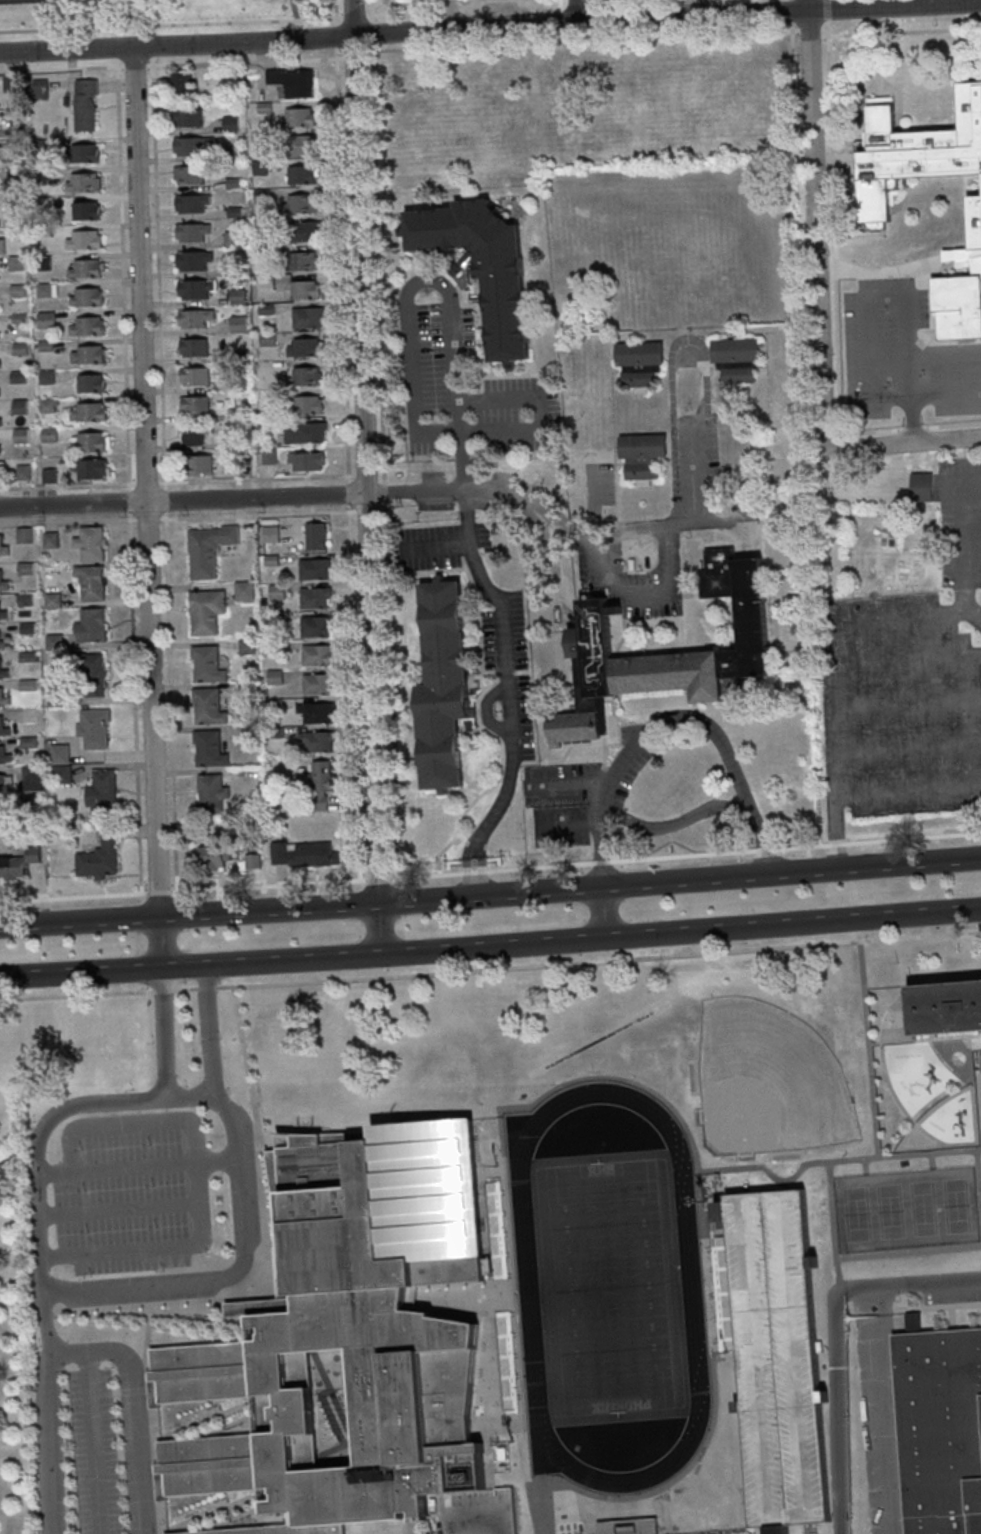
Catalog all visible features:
park: (25, 1)
road: (595, 4)
road: (806, 5)
road: (295, 10)
road: (560, 11)
road: (576, 11)
road: (824, 11)
park: (149, 12)
road: (101, 14)
road: (596, 14)
road: (200, 24)
road: (490, 26)
road: (809, 28)
road: (902, 32)
road: (578, 40)
road: (352, 54)
road: (171, 63)
building: (291, 82)
building: (9, 83)
building: (180, 84)
building: (38, 89)
road: (792, 89)
building: (83, 105)
building: (263, 108)
building: (16, 117)
building: (186, 118)
building: (296, 118)
building: (229, 123)
building: (258, 137)
building: (40, 144)
building: (190, 145)
building: (301, 145)
building: (913, 150)
building: (13, 151)
building: (83, 153)
building: (230, 153)
building: (258, 165)
building: (40, 173)
building: (189, 174)
building: (13, 175)
building: (299, 175)
building: (81, 182)
building: (232, 183)
building: (260, 194)
building: (190, 203)
building: (13, 204)
building: (298, 205)
building: (84, 211)
building: (233, 213)
road: (814, 215)
building: (261, 223)
road: (830, 228)
building: (15, 232)
building: (42, 232)
building: (190, 232)
building: (303, 232)
road: (340, 237)
building: (231, 239)
building: (82, 240)
building: (1, 246)
building: (261, 253)
building: (192, 261)
building: (41, 262)
building: (299, 262)
building: (15, 263)
building: (479, 266)
building: (84, 269)
building: (234, 269)
building: (263, 282)
building: (960, 284)
building: (193, 289)
building: (16, 290)
building: (43, 290)
building: (303, 290)
building: (85, 297)
building: (235, 297)
road: (882, 297)
building: (264, 310)
building: (305, 317)
road: (450, 317)
building: (193, 318)
building: (18, 319)
building: (45, 320)
building: (236, 325)
building: (85, 327)
building: (0, 335)
building: (265, 339)
building: (44, 346)
building: (192, 347)
building: (302, 348)
building: (19, 349)
building: (87, 355)
parking lot: (902, 355)
building: (238, 356)
building: (0, 359)
building: (734, 360)
building: (638, 364)
road: (908, 376)
building: (17, 377)
building: (45, 377)
building: (193, 377)
building: (304, 377)
parking lot: (428, 379)
building: (89, 383)
building: (238, 384)
building: (0, 389)
road: (945, 393)
building: (194, 405)
building: (45, 406)
building: (305, 406)
building: (18, 407)
building: (87, 412)
building: (239, 412)
building: (0, 416)
road: (911, 417)
building: (266, 424)
road: (909, 429)
building: (303, 433)
building: (191, 434)
building: (19, 435)
building: (47, 435)
road: (380, 438)
building: (88, 442)
road: (892, 442)
building: (0, 445)
road: (363, 452)
building: (267, 456)
building: (640, 456)
building: (305, 461)
building: (196, 464)
building: (2, 466)
building: (241, 467)
building: (89, 469)
building: (22, 472)
building: (47, 476)
road: (165, 477)
road: (256, 479)
road: (145, 482)
road: (958, 482)
building: (919, 487)
road: (346, 493)
road: (182, 501)
road: (257, 515)
road: (970, 516)
parking lot: (650, 525)
building: (269, 534)
building: (22, 535)
building: (314, 536)
building: (49, 540)
road: (594, 540)
building: (89, 544)
building: (3, 550)
building: (206, 550)
building: (270, 560)
road: (959, 564)
building: (24, 568)
building: (312, 569)
building: (90, 583)
building: (3, 586)
building: (242, 591)
building: (275, 592)
road: (644, 594)
building: (312, 598)
building: (23, 600)
building: (51, 601)
building: (262, 602)
building: (204, 612)
building: (2, 615)
parking lot: (481, 619)
road: (500, 619)
building: (89, 626)
building: (314, 627)
building: (25, 628)
building: (53, 642)
building: (2, 644)
building: (245, 647)
road: (822, 651)
building: (733, 652)
building: (314, 655)
building: (25, 657)
building: (205, 665)
building: (89, 671)
building: (3, 674)
building: (273, 677)
parking lot: (908, 678)
building: (315, 684)
building: (26, 685)
building: (440, 685)
building: (246, 689)
building: (54, 695)
road: (352, 696)
building: (3, 700)
building: (273, 704)
road: (903, 705)
building: (207, 707)
building: (314, 712)
building: (29, 714)
road: (671, 720)
building: (92, 729)
building: (3, 731)
building: (247, 731)
building: (274, 733)
building: (316, 741)
building: (26, 743)
building: (207, 749)
road: (904, 750)
building: (57, 754)
building: (3, 756)
parking lot: (621, 766)
building: (59, 774)
parking lot: (627, 775)
building: (29, 779)
building: (5, 783)
building: (318, 783)
road: (570, 783)
road: (905, 792)
building: (100, 793)
building: (209, 794)
building: (29, 802)
parking lot: (559, 802)
building: (1, 810)
road: (762, 843)
road: (471, 854)
building: (302, 855)
road: (600, 855)
building: (97, 857)
building: (211, 857)
road: (769, 860)
building: (251, 862)
building: (17, 864)
road: (490, 870)
road: (791, 872)
road: (600, 873)
road: (473, 877)
road: (489, 895)
road: (268, 911)
road: (601, 913)
road: (80, 922)
road: (790, 924)
road: (377, 929)
road: (931, 935)
road: (161, 942)
road: (489, 947)
road: (270, 961)
road: (81, 971)
road: (440, 971)
building: (946, 1008)
road: (206, 1030)
road: (161, 1032)
road: (868, 1043)
park: (766, 1082)
road: (226, 1109)
road: (833, 1160)
road: (136, 1167)
road: (979, 1173)
road: (196, 1183)
parking lot: (129, 1192)
park: (954, 1206)
park: (921, 1209)
road: (116, 1210)
park: (888, 1212)
park: (855, 1215)
road: (831, 1226)
road: (266, 1235)
road: (907, 1252)
park: (607, 1287)
track: (688, 1287)
park: (607, 1288)
building: (349, 1335)
road: (834, 1340)
building: (778, 1358)
parking lot: (778, 1358)
road: (131, 1407)
road: (49, 1412)
road: (149, 1420)
building: (940, 1428)
road: (91, 1442)
parking lot: (92, 1452)
road: (481, 1521)
building: (629, 1527)

